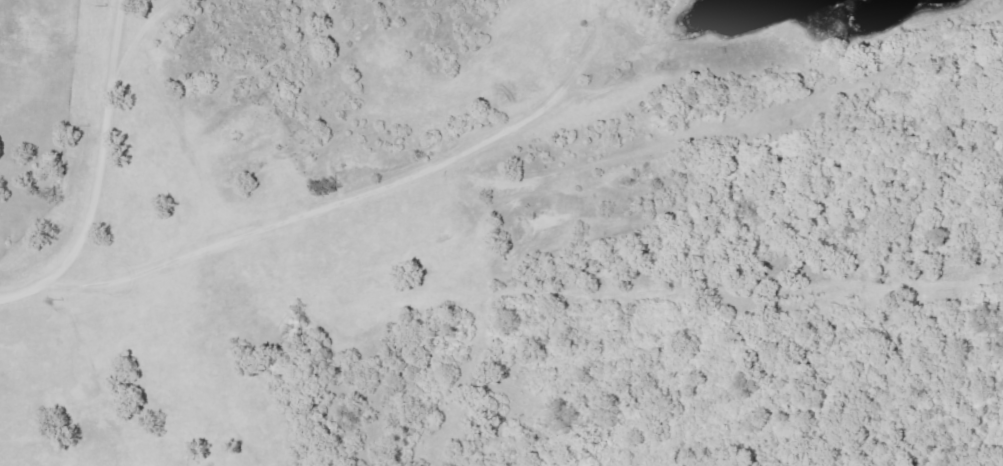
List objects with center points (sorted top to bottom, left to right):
road: (104, 171)

